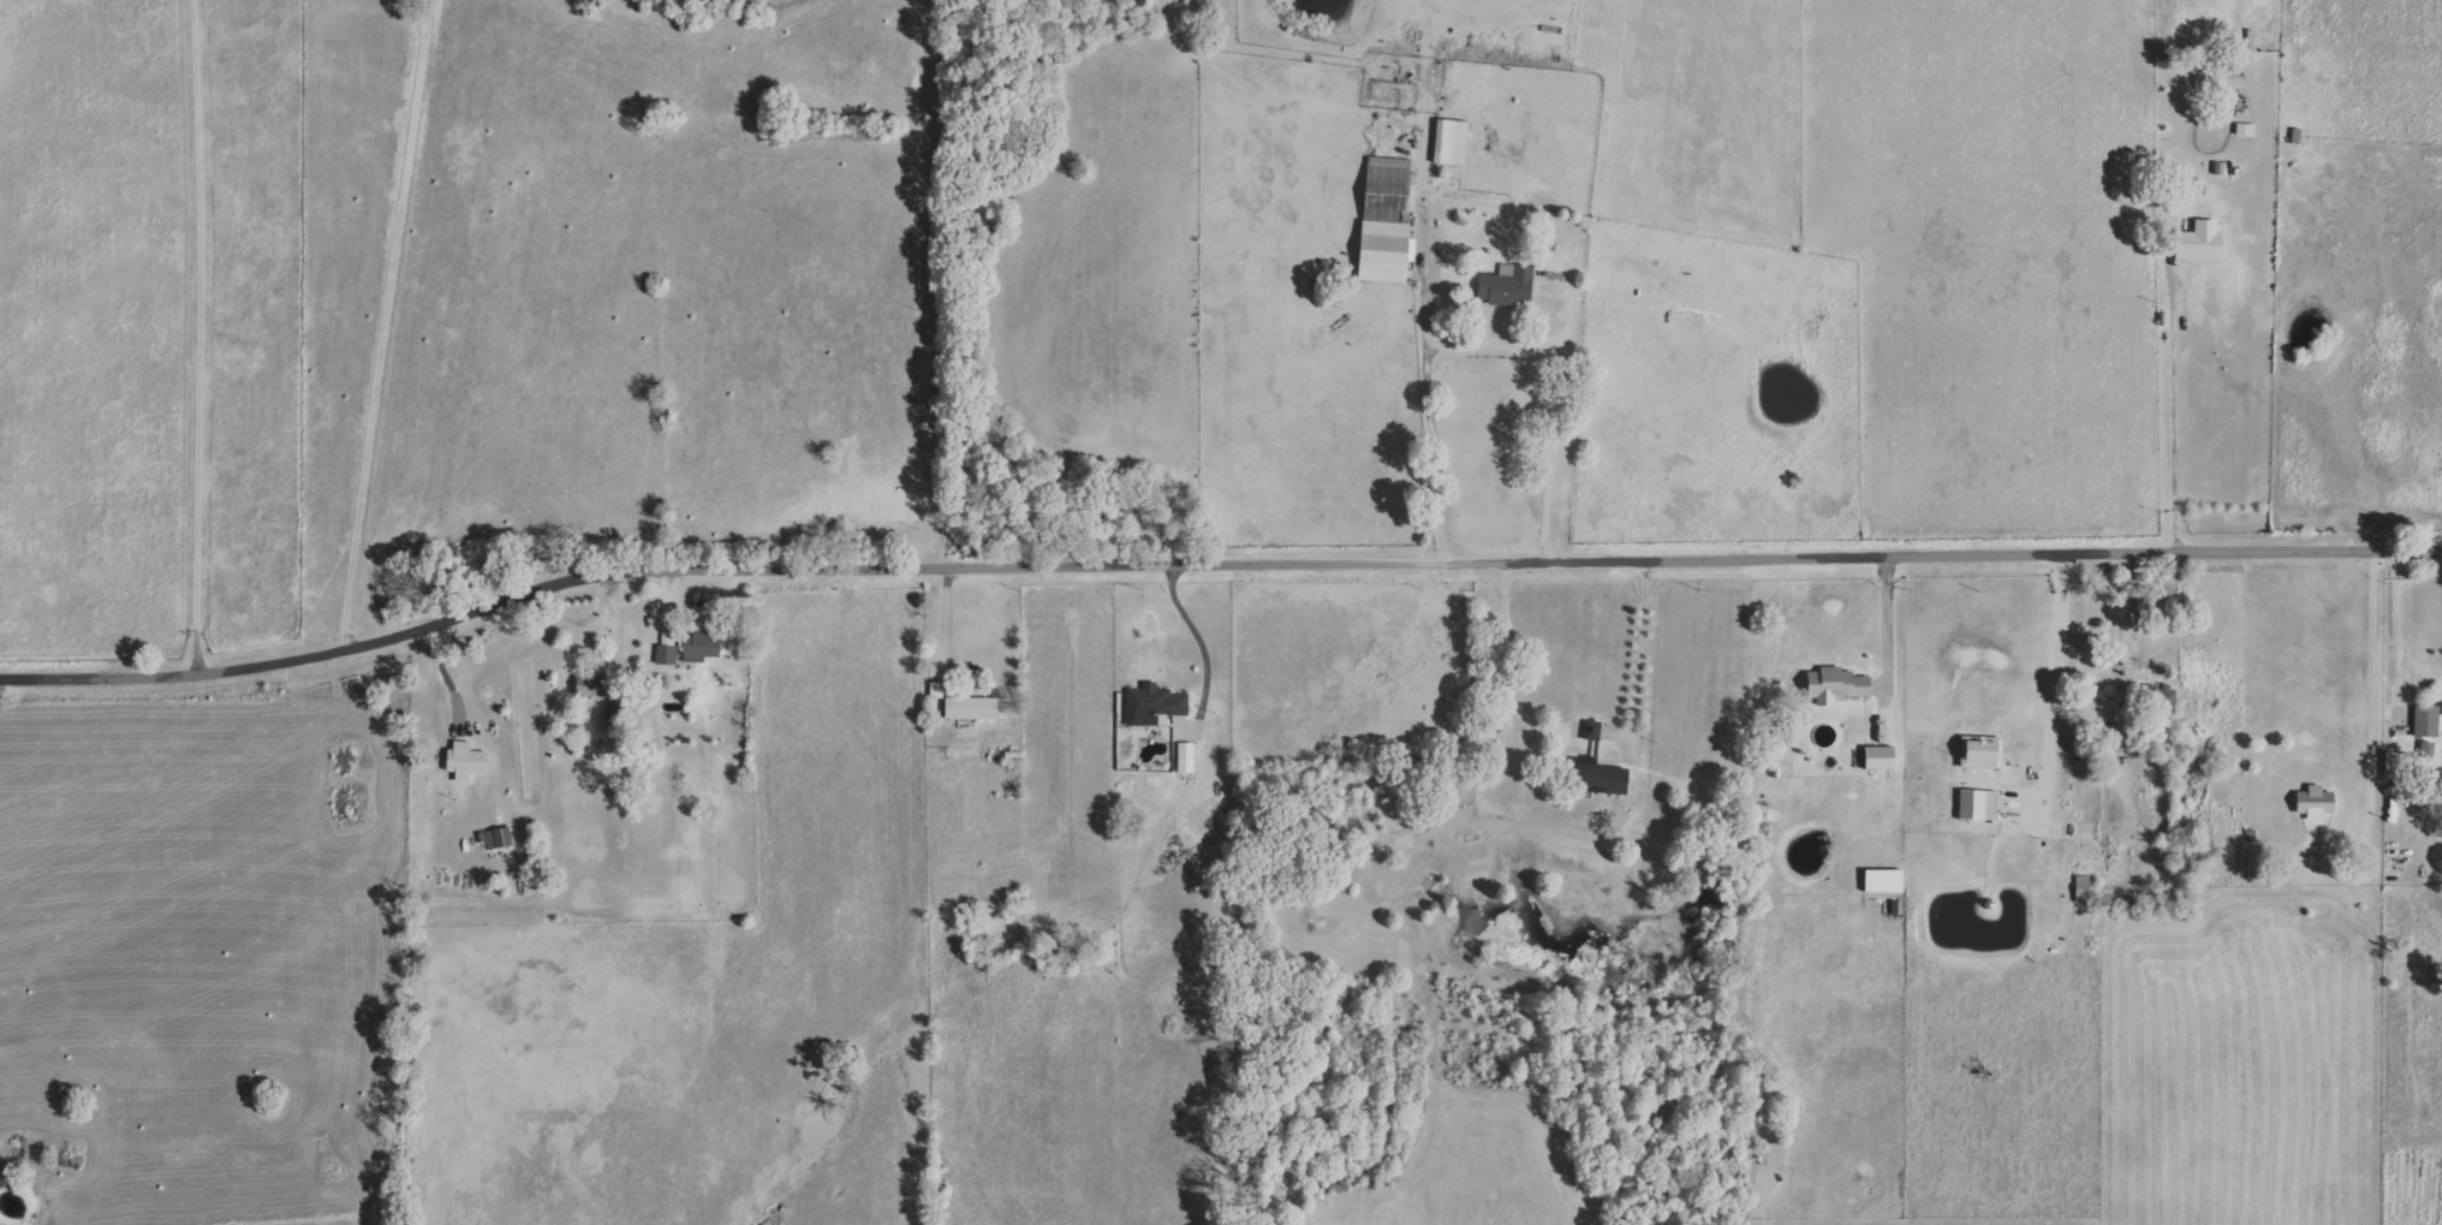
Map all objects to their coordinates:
building: (1449, 142)
building: (1384, 219)
building: (2199, 243)
building: (1506, 286)
road: (376, 323)
road: (191, 334)
road: (1495, 337)
road: (2172, 408)
road: (1215, 560)
road: (942, 618)
road: (2395, 619)
road: (1201, 638)
road: (1890, 641)
building: (699, 647)
building: (666, 654)
road: (1639, 654)
road: (1507, 665)
road: (2053, 666)
building: (1836, 685)
building: (590, 686)
road: (2370, 689)
building: (2167, 700)
building: (1154, 706)
building: (971, 707)
building: (2441, 710)
building: (2426, 720)
building: (1592, 730)
building: (1975, 751)
building: (1186, 757)
building: (1878, 757)
building: (463, 760)
building: (1596, 775)
building: (2313, 802)
building: (1977, 804)
building: (498, 838)

